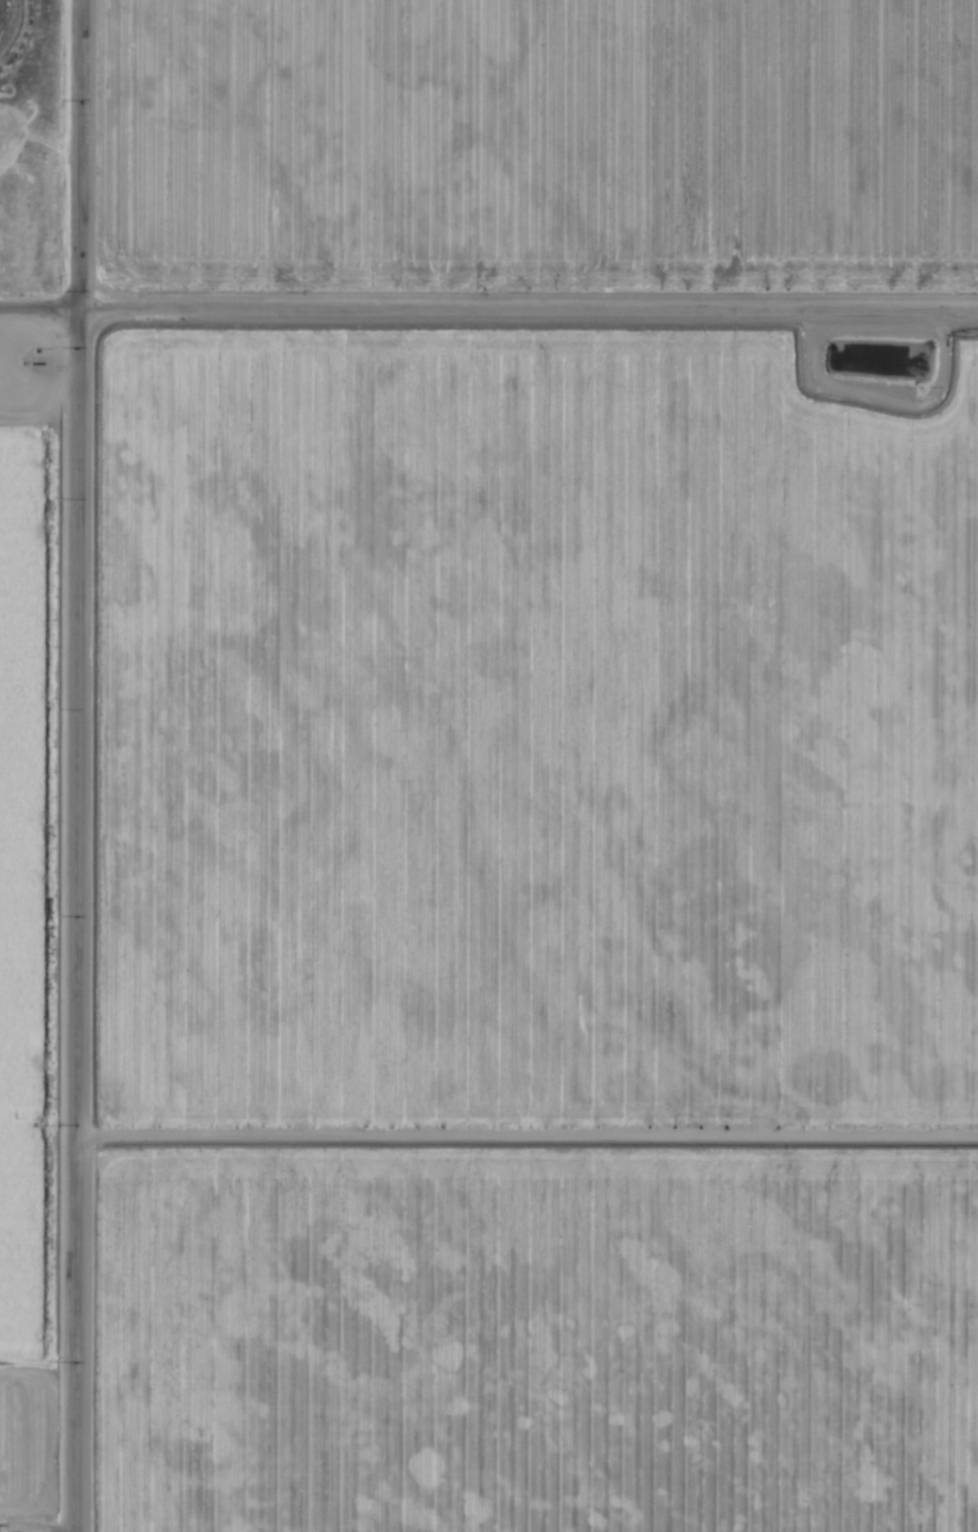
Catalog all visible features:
road: (924, 213)
road: (488, 311)
road: (77, 765)
road: (526, 1131)

